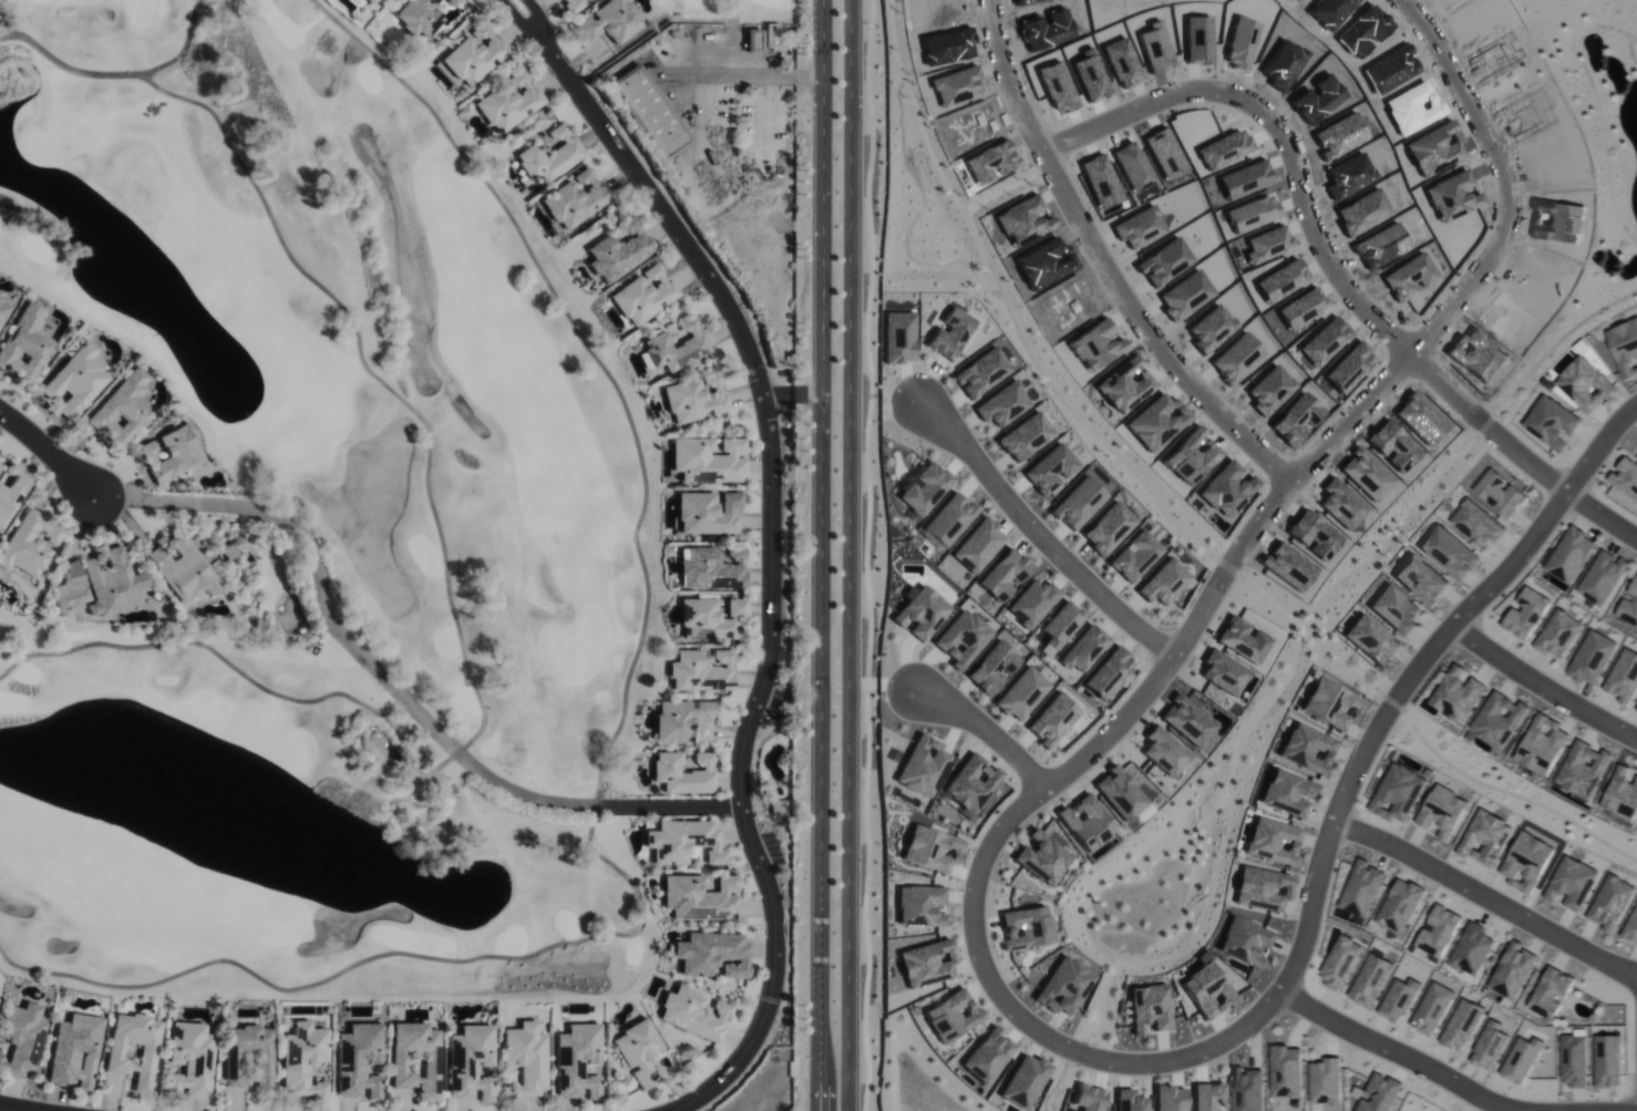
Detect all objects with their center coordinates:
building: (372, 0)
building: (454, 2)
building: (572, 6)
park: (747, 6)
building: (419, 17)
building: (609, 22)
road: (539, 25)
road: (525, 27)
building: (754, 39)
building: (475, 54)
building: (508, 103)
building: (649, 111)
road: (1290, 125)
building: (550, 155)
building: (576, 199)
building: (618, 253)
road: (1114, 260)
building: (642, 296)
building: (2, 307)
building: (21, 344)
building: (677, 348)
building: (71, 383)
road: (807, 394)
road: (778, 395)
building: (694, 399)
building: (120, 409)
road: (1493, 416)
road: (1598, 441)
road: (45, 452)
building: (168, 453)
building: (708, 460)
building: (1626, 476)
building: (9, 487)
building: (1500, 493)
building: (1616, 494)
road: (1602, 502)
building: (707, 512)
building: (1476, 523)
road: (1044, 526)
park: (330, 538)
building: (27, 543)
building: (1450, 552)
building: (1572, 554)
road: (822, 555)
road: (851, 555)
building: (177, 566)
building: (710, 568)
road: (771, 576)
building: (1603, 577)
building: (1421, 579)
building: (106, 580)
building: (66, 585)
building: (1629, 605)
building: (1397, 609)
building: (1526, 613)
building: (709, 618)
building: (1558, 634)
building: (1372, 639)
building: (1593, 657)
road: (363, 663)
road: (1545, 668)
building: (701, 669)
building: (1624, 677)
building: (1459, 697)
building: (1331, 702)
building: (680, 718)
road: (986, 719)
building: (1500, 720)
building: (1542, 744)
building: (1309, 748)
building: (1583, 769)
building: (683, 773)
building: (1621, 794)
road: (723, 804)
road: (694, 807)
building: (778, 807)
building: (683, 842)
road: (995, 842)
road: (1490, 889)
building: (699, 896)
building: (1612, 903)
building: (1401, 905)
building: (1631, 928)
building: (1439, 932)
building: (1472, 948)
building: (712, 954)
building: (1513, 970)
building: (1552, 991)
building: (693, 1014)
building: (21, 1038)
building: (132, 1048)
building: (74, 1051)
building: (638, 1051)
building: (246, 1056)
building: (526, 1057)
building: (189, 1059)
building: (414, 1059)
building: (1522, 1059)
building: (302, 1060)
building: (357, 1060)
building: (1575, 1060)
building: (578, 1061)
building: (470, 1062)
road: (1450, 1074)
road: (17, 1108)

